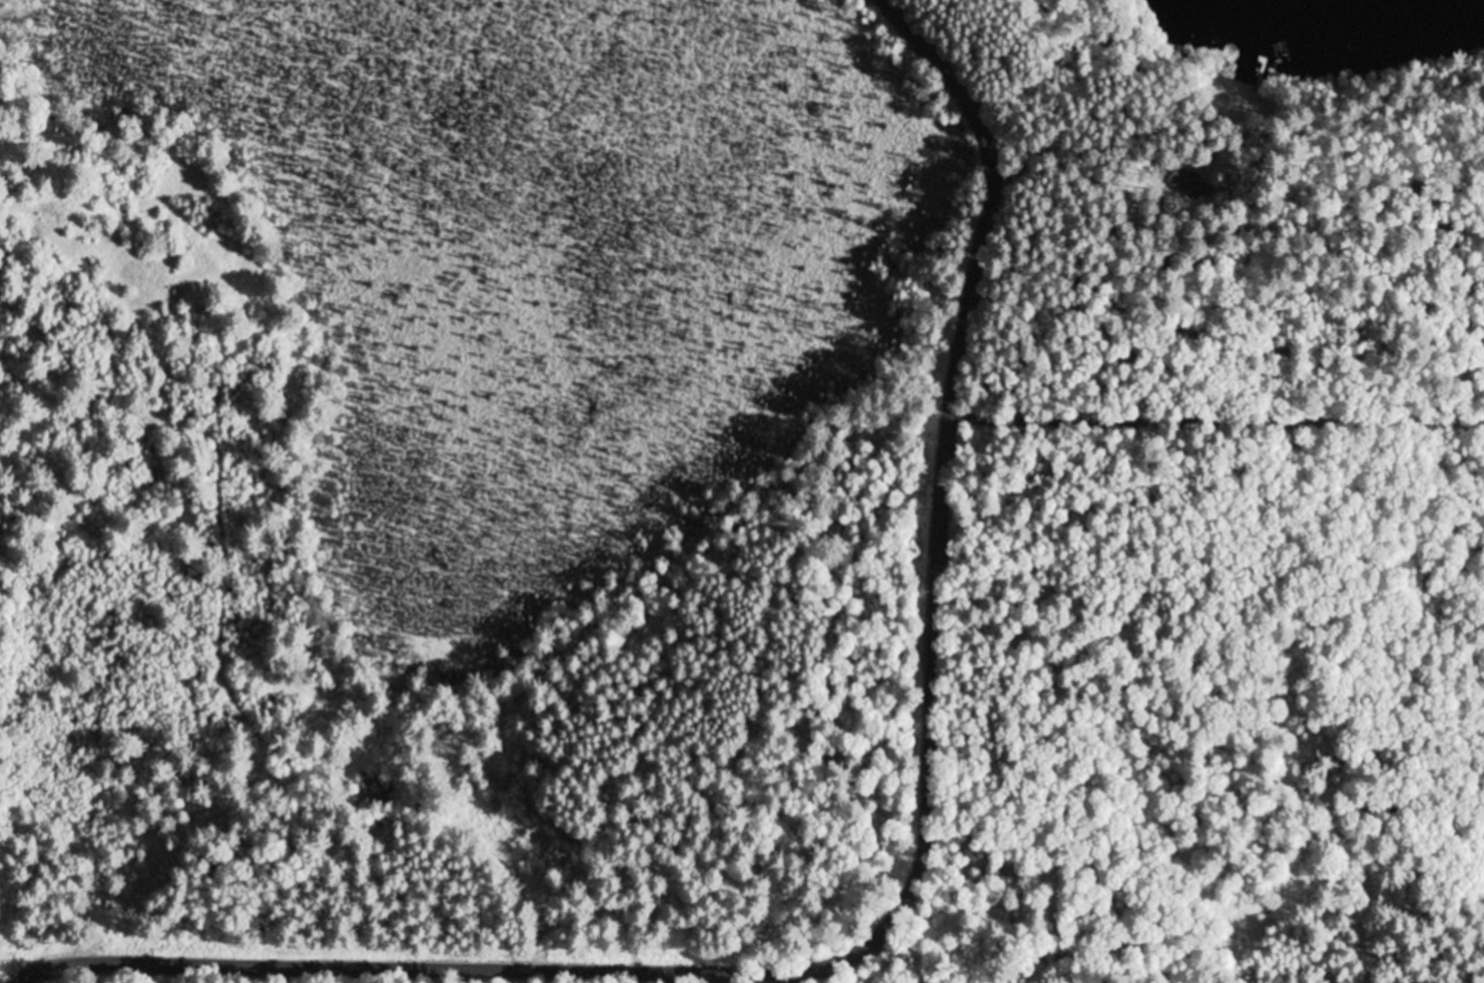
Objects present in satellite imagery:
road: (1217, 418)
road: (912, 891)

